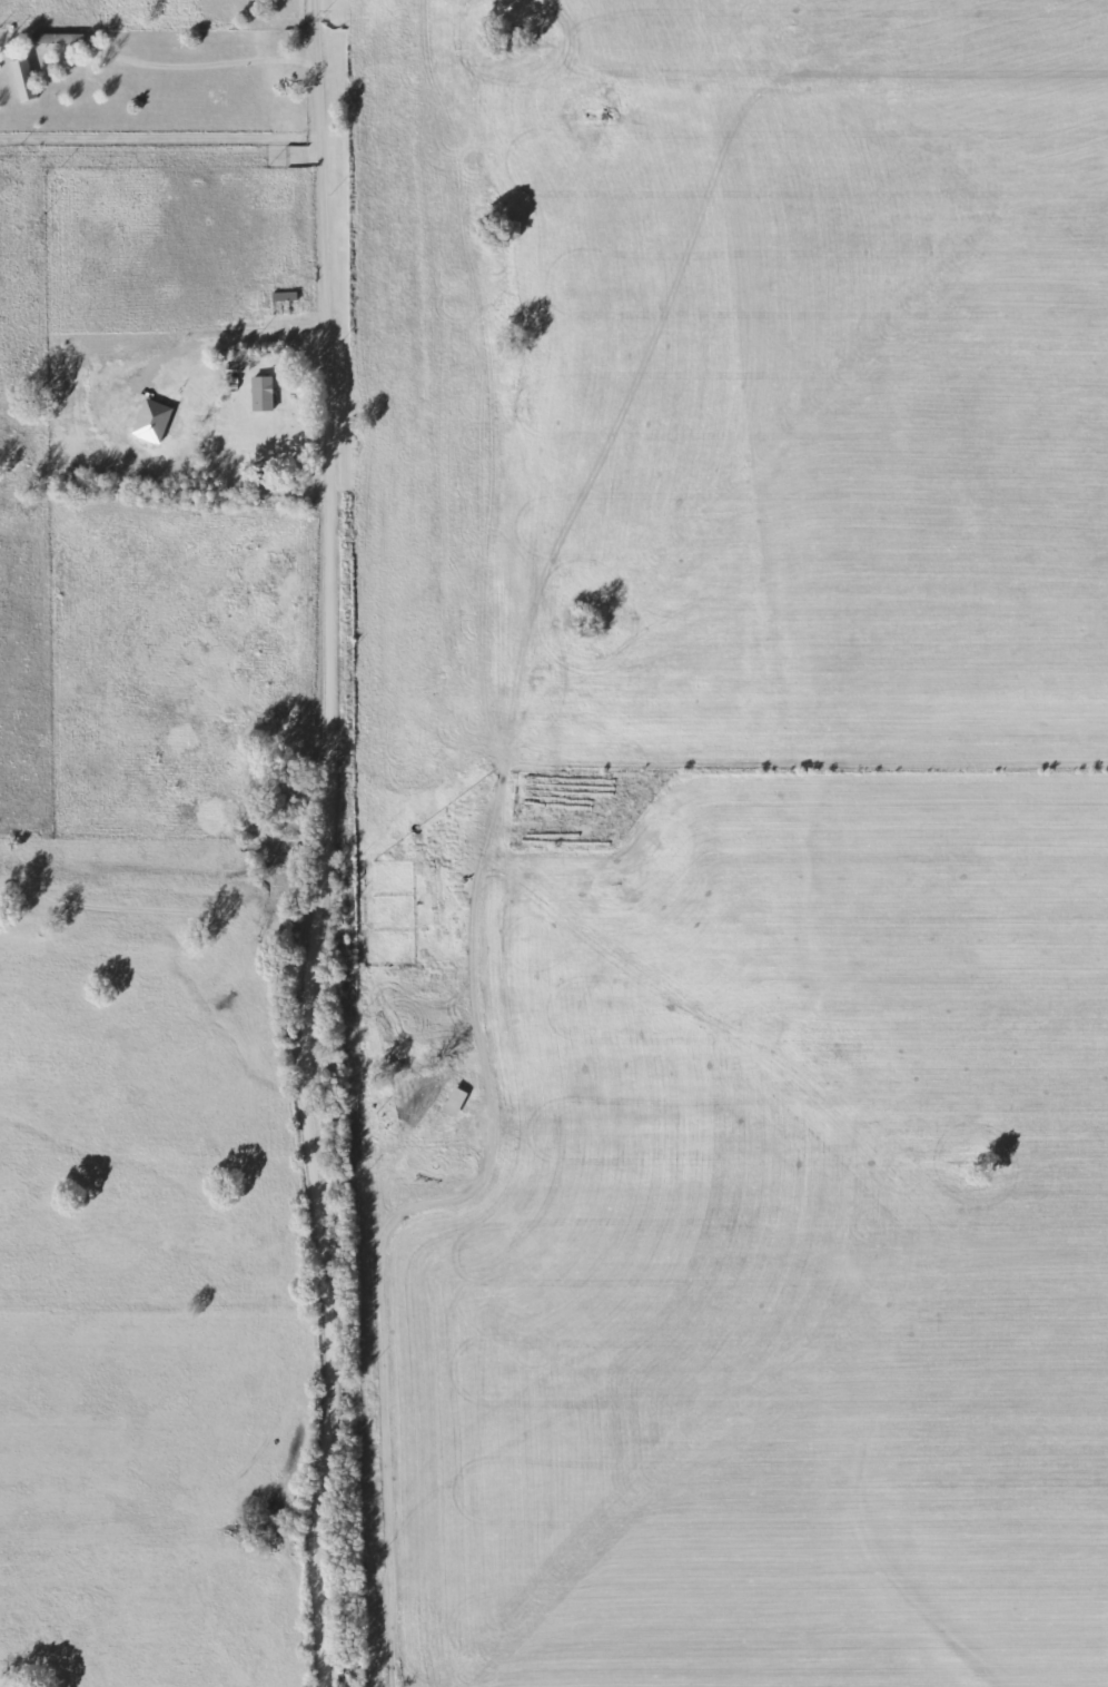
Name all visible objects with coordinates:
building: (60, 38)
building: (26, 79)
building: (286, 295)
building: (264, 393)
road: (332, 846)
building: (437, 1106)
road: (384, 1324)

